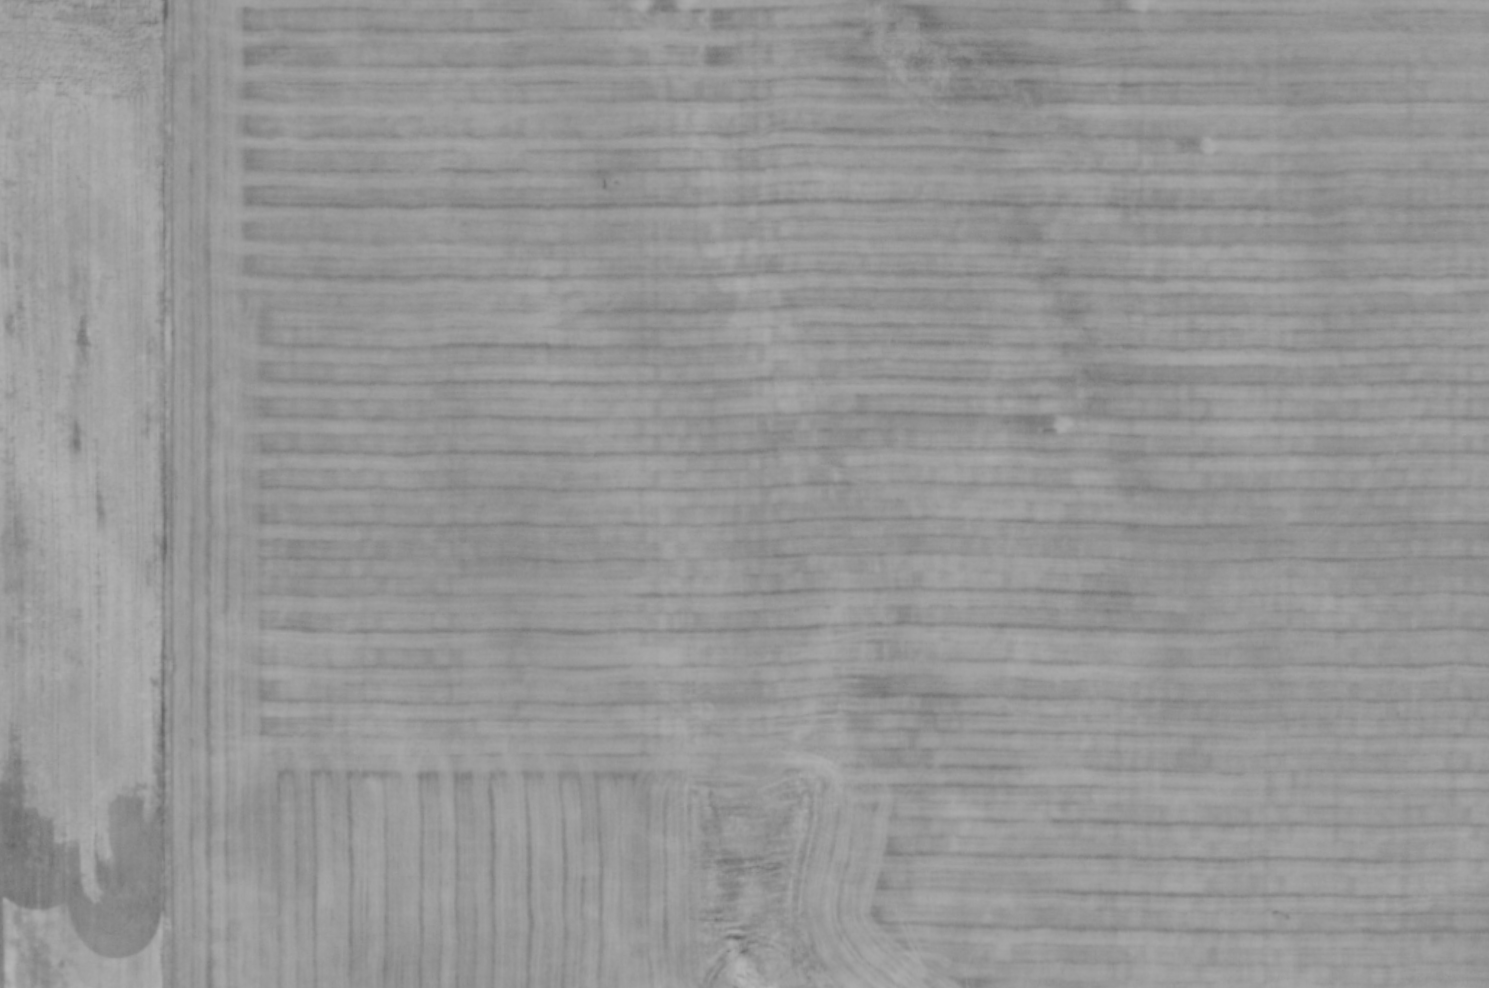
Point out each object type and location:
road: (1137, 494)

